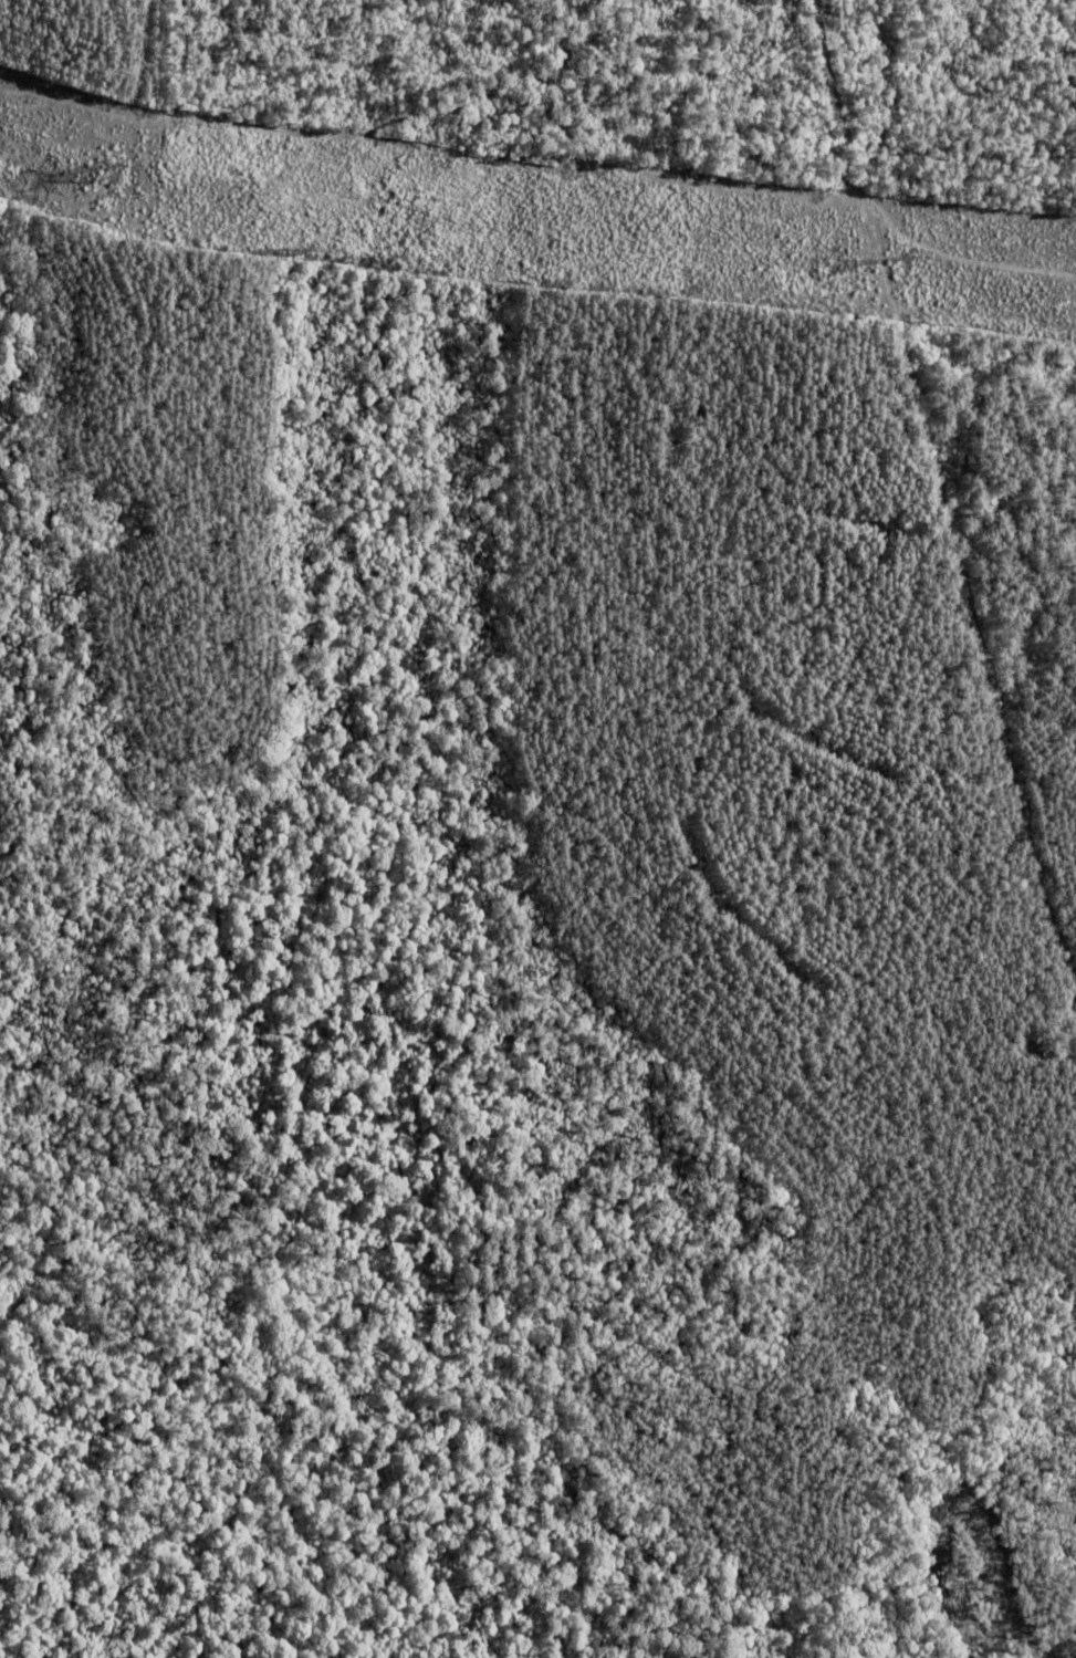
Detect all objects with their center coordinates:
power tower: (126, 176)
power tower: (903, 259)
power tower: (899, 260)
road: (940, 492)

